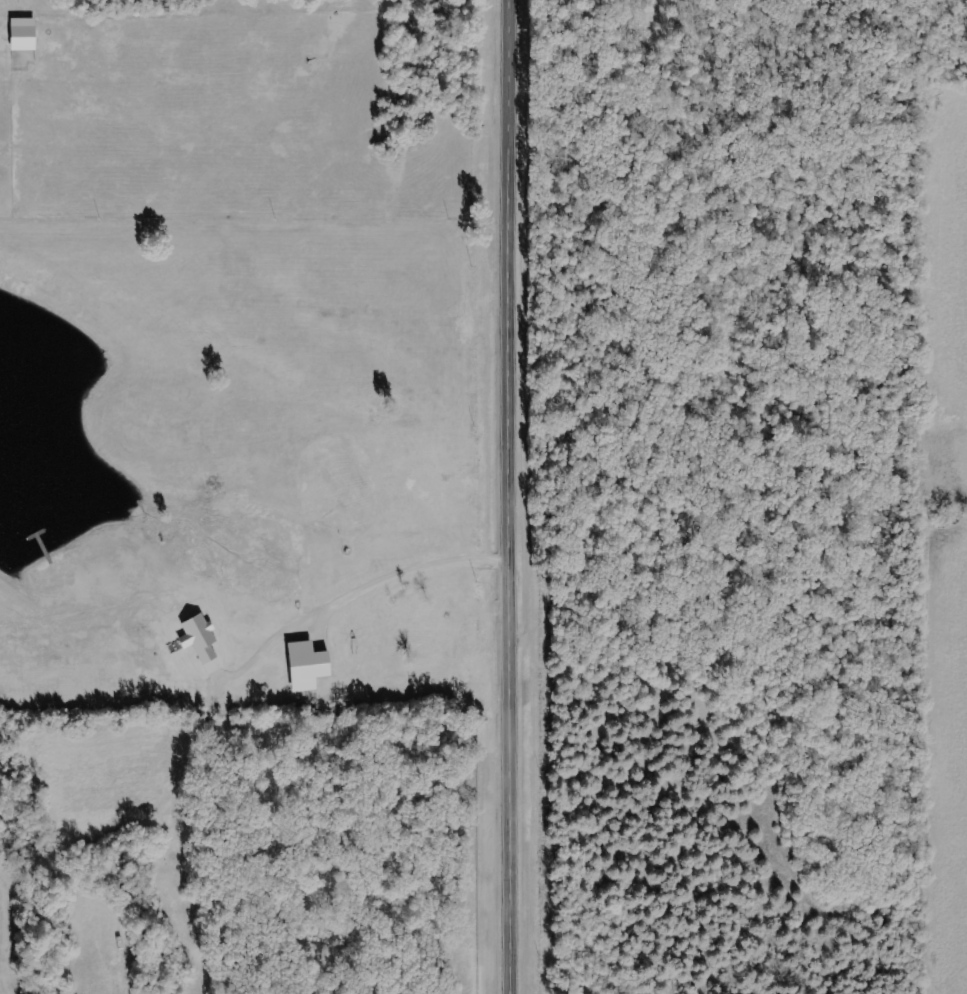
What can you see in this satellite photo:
building: (26, 33)
road: (504, 496)
building: (202, 636)
building: (311, 664)

